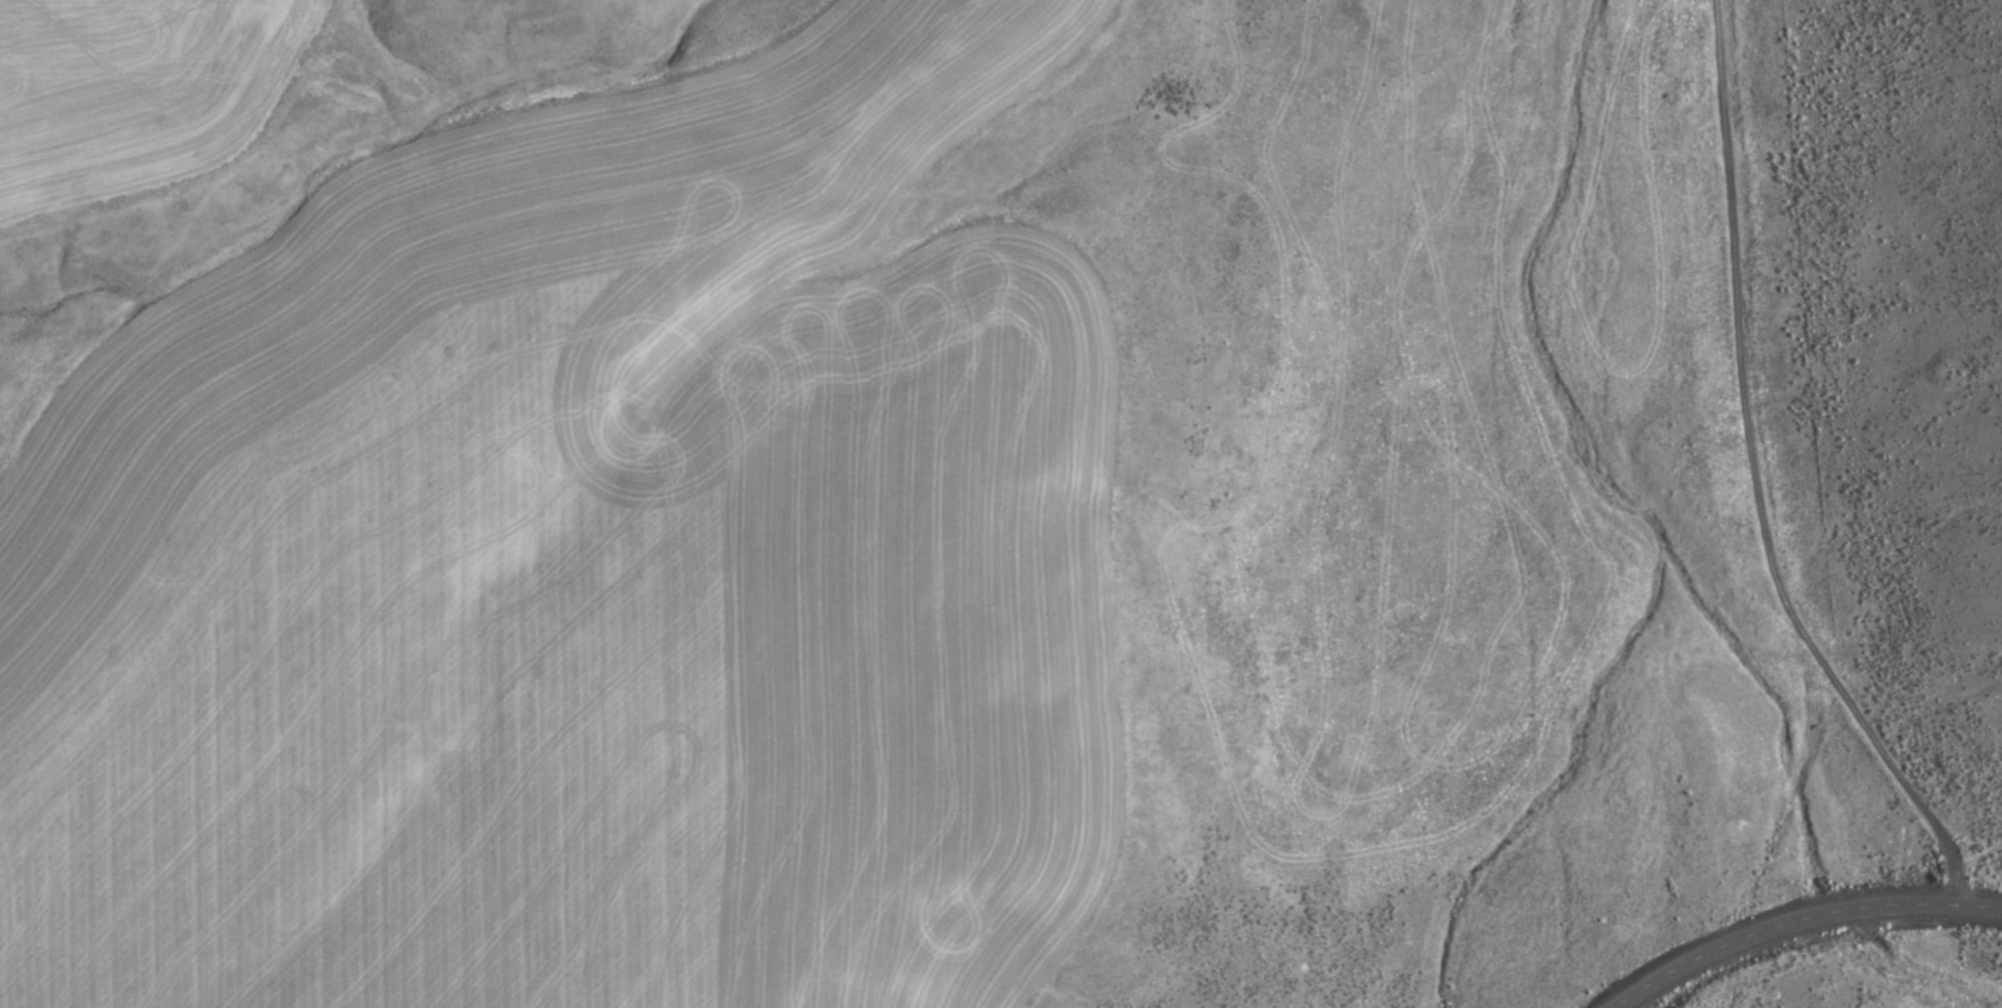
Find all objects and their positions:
road: (1754, 479)
road: (1795, 917)

